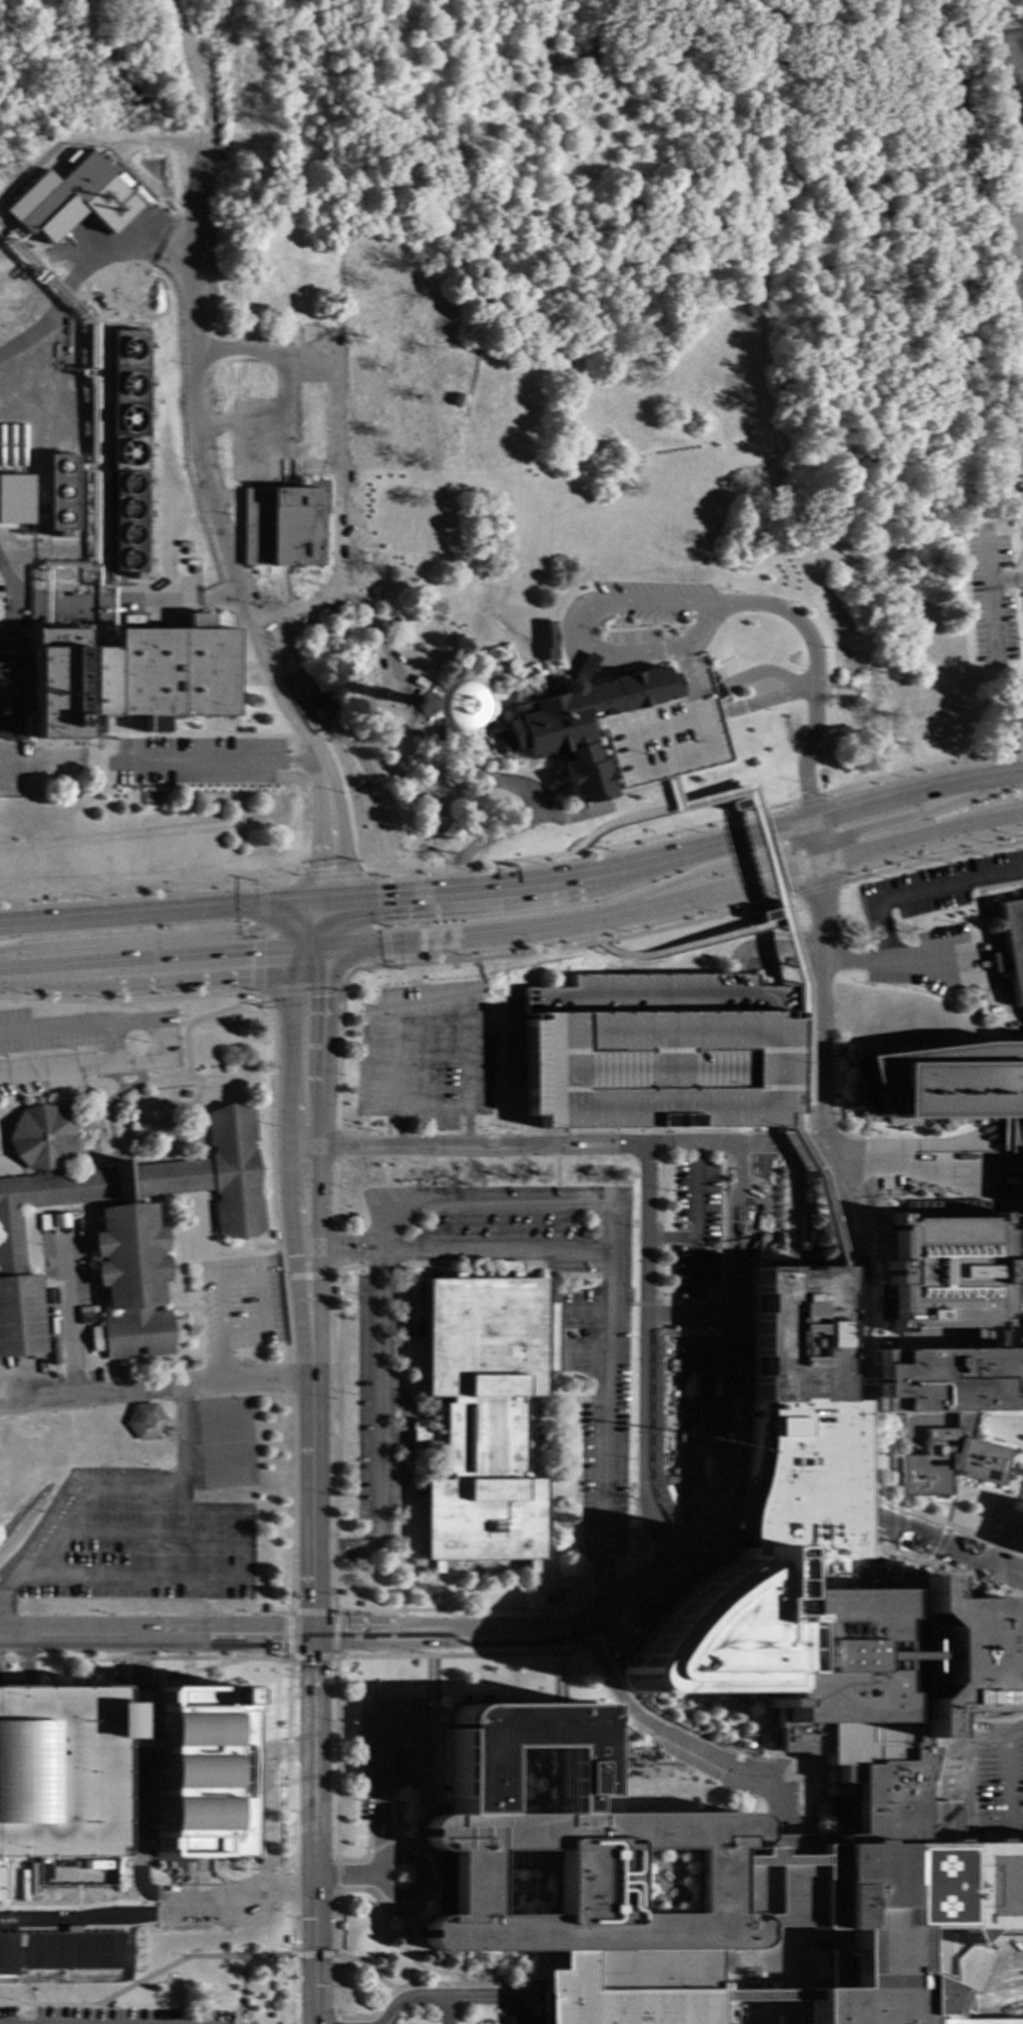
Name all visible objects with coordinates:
road: (550, 63)
road: (568, 63)
road: (194, 82)
road: (339, 187)
building: (72, 200)
building: (275, 224)
road: (494, 240)
road: (198, 242)
road: (51, 259)
park: (594, 295)
building: (126, 400)
road: (285, 417)
parking lot: (260, 443)
road: (264, 449)
road: (335, 460)
building: (238, 472)
building: (15, 475)
road: (203, 481)
building: (59, 493)
building: (127, 522)
building: (281, 527)
building: (2, 601)
road: (21, 603)
road: (160, 606)
road: (72, 612)
building: (4, 616)
road: (579, 637)
building: (545, 641)
road: (816, 680)
building: (115, 682)
building: (478, 685)
building: (434, 694)
water tower: (431, 706)
building: (579, 723)
building: (153, 725)
building: (669, 733)
parking lot: (669, 733)
road: (307, 741)
parking lot: (197, 760)
road: (223, 762)
road: (920, 768)
road: (517, 785)
road: (918, 795)
road: (809, 798)
road: (978, 814)
road: (916, 815)
road: (570, 816)
road: (623, 822)
road: (753, 837)
road: (922, 840)
road: (482, 842)
road: (818, 844)
road: (667, 859)
road: (931, 860)
road: (509, 862)
road: (711, 869)
traffic signals: (329, 870)
road: (617, 872)
road: (335, 878)
road: (817, 889)
road: (150, 891)
road: (461, 894)
road: (775, 897)
traffic signals: (388, 899)
road: (886, 899)
traffic signals: (328, 902)
road: (163, 912)
road: (381, 920)
road: (571, 925)
road: (8, 926)
road: (321, 928)
road: (168, 937)
road: (259, 938)
road: (689, 945)
building: (1012, 945)
road: (564, 948)
road: (769, 949)
traffic signals: (315, 955)
traffic signals: (250, 959)
road: (929, 962)
road: (157, 964)
road: (299, 990)
building: (244, 998)
traffic signals: (312, 998)
road: (128, 1001)
road: (418, 1008)
road: (156, 1044)
road: (108, 1048)
parking lot: (78, 1049)
building: (657, 1053)
parking lot: (657, 1053)
parking lot: (424, 1056)
road: (424, 1058)
road: (338, 1061)
building: (183, 1096)
road: (430, 1108)
road: (563, 1146)
road: (335, 1147)
road: (737, 1167)
road: (901, 1168)
building: (451, 1170)
road: (554, 1171)
road: (272, 1173)
building: (1022, 1176)
road: (642, 1192)
road: (333, 1193)
road: (790, 1206)
road: (693, 1221)
road: (761, 1224)
parking lot: (694, 1225)
road: (731, 1225)
building: (830, 1225)
building: (118, 1227)
parking lot: (500, 1228)
building: (272, 1235)
road: (668, 1238)
road: (356, 1241)
road: (320, 1248)
road: (333, 1250)
road: (491, 1252)
road: (355, 1255)
road: (854, 1276)
road: (306, 1278)
road: (243, 1279)
parking lot: (63, 1284)
road: (731, 1288)
road: (606, 1290)
building: (335, 1292)
parking lot: (241, 1304)
road: (68, 1308)
parking lot: (618, 1314)
road: (666, 1315)
road: (710, 1315)
road: (644, 1363)
parking lot: (154, 1370)
parking lot: (27, 1375)
road: (291, 1376)
parking lot: (95, 1377)
road: (155, 1386)
parking lot: (360, 1401)
building: (949, 1409)
building: (483, 1415)
road: (214, 1420)
building: (145, 1421)
building: (794, 1424)
road: (377, 1426)
road: (405, 1436)
road: (331, 1443)
road: (215, 1466)
road: (114, 1489)
road: (311, 1489)
road: (293, 1505)
road: (654, 1521)
parking lot: (149, 1522)
road: (154, 1533)
road: (1001, 1541)
building: (635, 1558)
road: (666, 1558)
road: (636, 1567)
road: (161, 1577)
road: (605, 1592)
road: (647, 1593)
road: (464, 1610)
road: (312, 1613)
road: (2, 1616)
road: (508, 1633)
traffic signals: (313, 1635)
road: (335, 1635)
road: (288, 1636)
road: (156, 1637)
road: (600, 1637)
road: (458, 1656)
road: (311, 1658)
road: (202, 1659)
road: (7, 1660)
road: (23, 1660)
road: (23, 1662)
road: (559, 1681)
building: (133, 1697)
road: (421, 1717)
road: (682, 1741)
building: (133, 1743)
road: (289, 1751)
parking lot: (392, 1755)
road: (336, 1761)
building: (58, 1771)
parking lot: (58, 1771)
building: (196, 1773)
road: (1007, 1778)
road: (966, 1781)
building: (884, 1791)
road: (380, 1795)
road: (263, 1800)
road: (289, 1816)
road: (126, 1830)
road: (385, 1831)
road: (376, 1836)
road: (126, 1840)
road: (138, 1854)
road: (337, 1876)
road: (346, 1877)
road: (794, 1881)
helipad: (927, 1887)
road: (290, 1888)
road: (416, 1895)
road: (81, 1913)
building: (341, 1927)
building: (286, 1940)
building: (61, 1951)
road: (337, 1953)
road: (314, 1956)
road: (793, 1958)
road: (291, 1964)
road: (366, 1966)
road: (992, 1971)
road: (148, 1978)
road: (440, 1985)
road: (534, 1989)
road: (793, 1995)
road: (993, 1996)
road: (452, 1999)
road: (448, 2011)
road: (793, 2012)
parking lot: (114, 2016)
building: (974, 2021)
road: (338, 2022)
road: (531, 2022)
road: (974, 2022)

